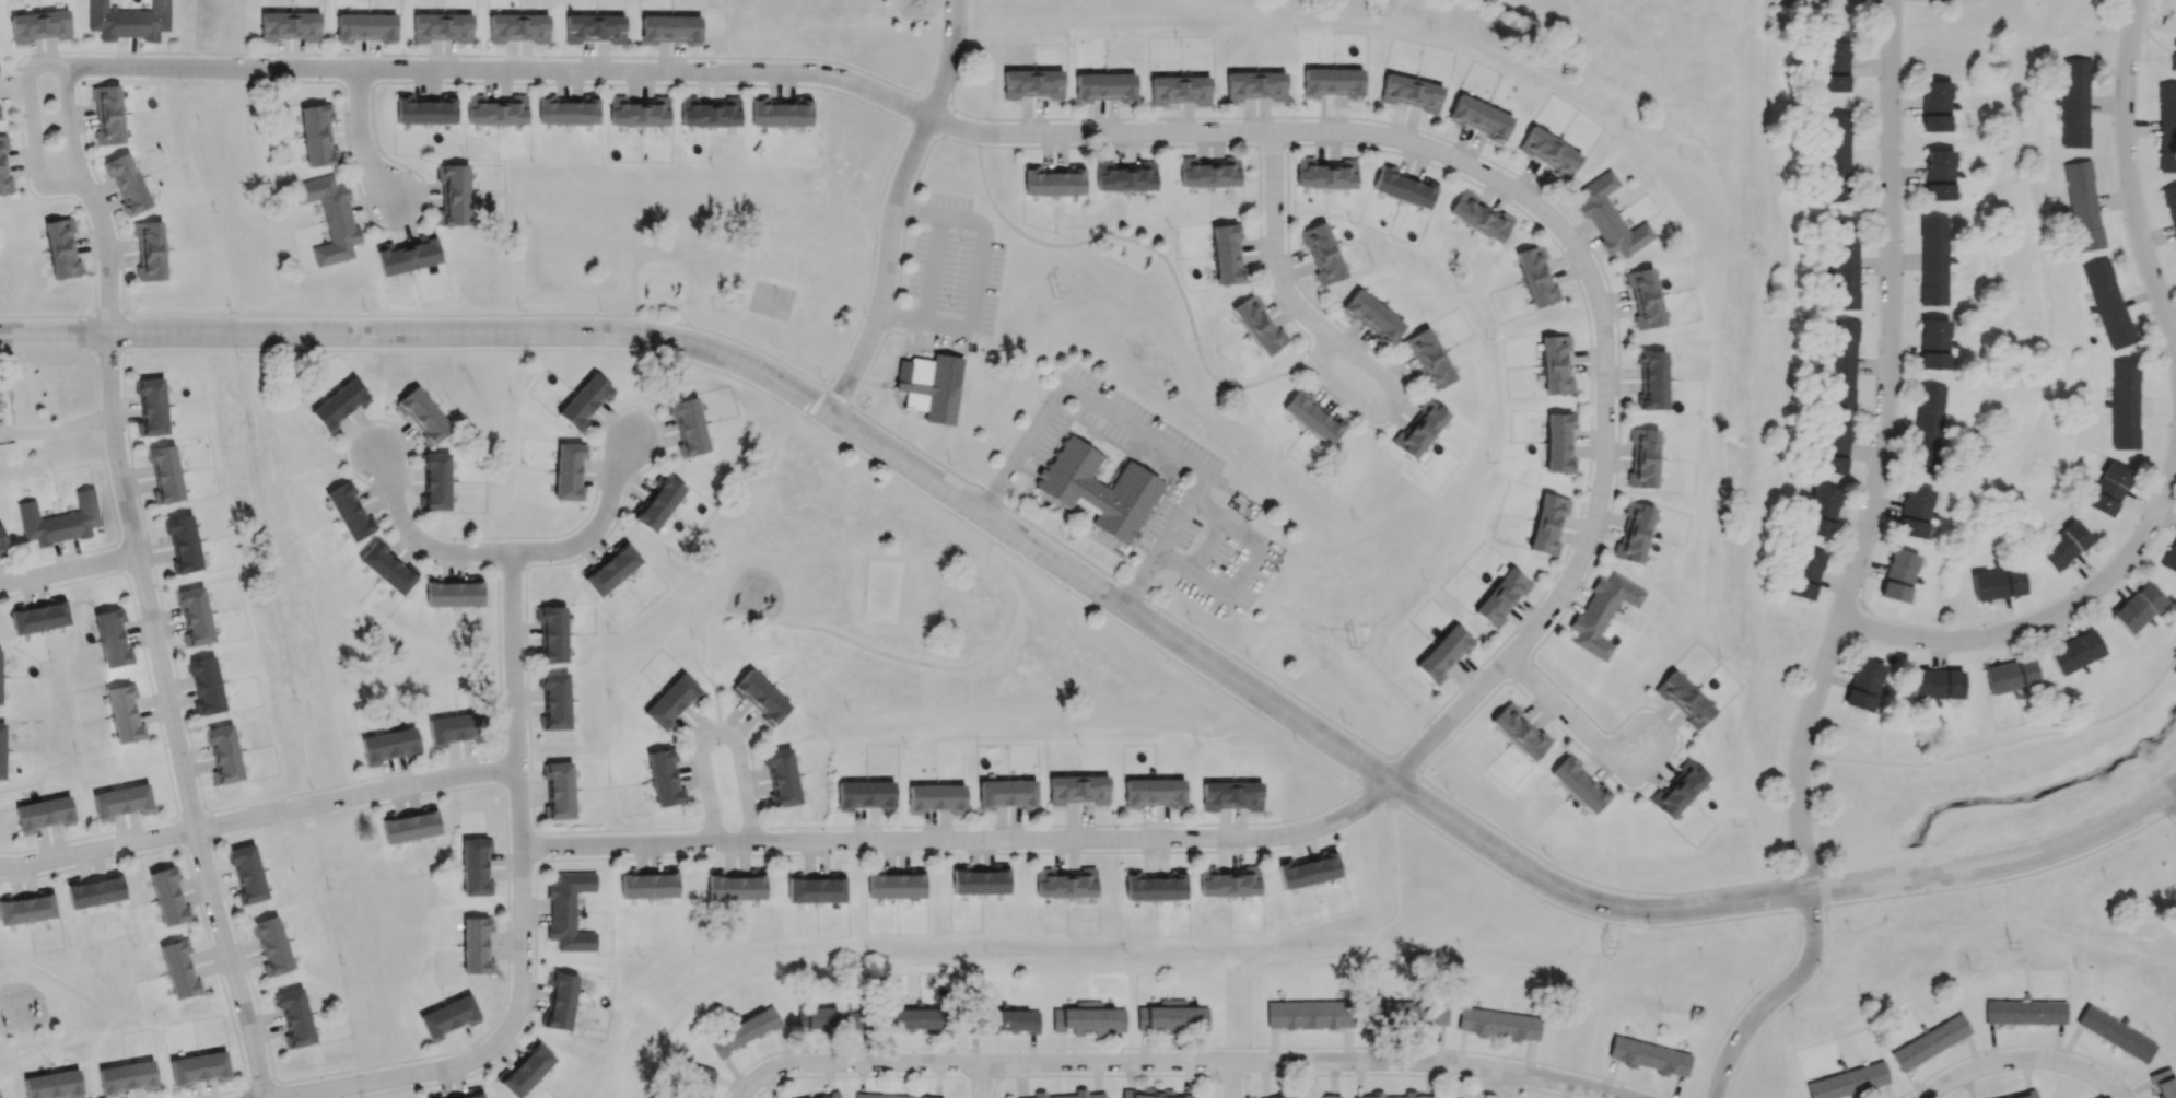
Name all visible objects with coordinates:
road: (941, 0)
road: (1935, 0)
road: (938, 8)
road: (916, 15)
road: (943, 16)
building: (128, 21)
road: (938, 23)
building: (40, 25)
building: (290, 26)
building: (365, 27)
building: (442, 27)
building: (518, 27)
building: (595, 28)
building: (670, 28)
road: (2148, 32)
road: (319, 55)
road: (948, 59)
building: (1834, 66)
road: (935, 67)
road: (498, 70)
building: (1332, 82)
building: (1032, 83)
building: (1255, 85)
building: (1104, 86)
building: (1180, 90)
building: (1411, 93)
building: (2074, 103)
building: (1935, 106)
road: (908, 107)
building: (425, 109)
building: (496, 110)
building: (566, 110)
building: (639, 112)
building: (710, 112)
building: (780, 112)
building: (107, 114)
building: (1479, 117)
building: (0, 118)
road: (945, 121)
building: (2166, 127)
building: (317, 135)
road: (919, 135)
road: (941, 135)
road: (33, 138)
road: (360, 139)
road: (955, 140)
road: (1252, 144)
building: (1549, 152)
building: (1836, 156)
road: (1501, 166)
building: (4, 168)
building: (1208, 172)
building: (1326, 173)
building: (1939, 174)
road: (2129, 174)
building: (1125, 176)
building: (1053, 180)
building: (127, 183)
building: (1403, 186)
building: (454, 195)
road: (92, 201)
building: (2083, 205)
building: (2171, 206)
building: (1481, 217)
building: (1610, 217)
building: (330, 219)
road: (1556, 221)
road: (1275, 246)
building: (61, 248)
road: (1150, 249)
building: (150, 250)
building: (1227, 253)
building: (1322, 253)
building: (407, 256)
road: (873, 256)
building: (1932, 260)
building: (1845, 264)
road: (891, 268)
parking lot: (950, 272)
building: (1536, 276)
park: (772, 299)
building: (1645, 299)
power tower: (1048, 303)
building: (2108, 303)
road: (658, 306)
road: (108, 312)
road: (372, 314)
road: (47, 316)
building: (1372, 316)
road: (655, 318)
building: (1259, 325)
road: (79, 335)
road: (759, 349)
road: (475, 350)
road: (46, 352)
road: (109, 354)
building: (1429, 359)
building: (1841, 363)
building: (1555, 364)
road: (753, 370)
building: (1652, 379)
building: (928, 384)
road: (1321, 389)
road: (839, 394)
building: (584, 401)
road: (816, 401)
road: (1399, 401)
building: (339, 404)
building: (2125, 404)
building: (152, 407)
building: (422, 414)
building: (1312, 417)
building: (689, 427)
road: (1136, 427)
building: (1926, 428)
building: (1419, 429)
building: (1558, 443)
building: (1834, 447)
road: (1884, 453)
building: (1642, 458)
building: (569, 470)
building: (165, 474)
road: (900, 479)
building: (436, 480)
building: (2108, 489)
building: (1099, 490)
parking lot: (1189, 490)
building: (657, 502)
building: (349, 511)
building: (1822, 511)
building: (1914, 511)
building: (59, 519)
building: (1547, 524)
building: (1634, 532)
building: (2, 540)
building: (183, 542)
building: (2063, 545)
road: (67, 554)
road: (505, 554)
building: (2171, 558)
building: (387, 566)
building: (610, 570)
building: (1805, 573)
road: (70, 575)
building: (1898, 575)
road: (1121, 580)
building: (1998, 583)
building: (453, 592)
park: (881, 592)
building: (1501, 597)
building: (2138, 607)
building: (1602, 612)
building: (195, 616)
building: (40, 617)
road: (2038, 622)
building: (553, 633)
building: (115, 640)
road: (853, 641)
power tower: (1359, 641)
building: (2074, 652)
building: (1443, 653)
road: (513, 662)
road: (1177, 662)
road: (1520, 670)
building: (2010, 676)
building: (0, 681)
building: (1863, 684)
building: (1937, 684)
building: (210, 686)
building: (760, 697)
building: (1684, 699)
building: (671, 701)
building: (555, 702)
building: (127, 715)
road: (175, 720)
road: (1464, 722)
road: (1791, 724)
building: (454, 727)
building: (1519, 732)
road: (723, 736)
road: (2005, 741)
building: (388, 745)
road: (1811, 745)
building: (2, 749)
building: (223, 752)
road: (1403, 763)
road: (1616, 764)
road: (1418, 774)
building: (664, 776)
building: (782, 778)
building: (1579, 784)
building: (1078, 789)
building: (1678, 789)
road: (1405, 790)
building: (559, 791)
building: (1153, 792)
building: (1008, 793)
road: (1377, 793)
building: (865, 794)
building: (1231, 795)
road: (356, 797)
building: (936, 797)
road: (2172, 797)
building: (121, 802)
road: (518, 808)
road: (2168, 809)
building: (44, 814)
road: (2168, 822)
building: (410, 825)
road: (1080, 841)
road: (636, 846)
road: (97, 850)
road: (96, 864)
building: (476, 866)
building: (1308, 869)
road: (48, 874)
building: (247, 874)
road: (1804, 874)
road: (28, 878)
building: (1229, 881)
road: (1999, 881)
building: (1065, 883)
road: (1589, 883)
building: (647, 884)
building: (894, 884)
building: (736, 885)
building: (1155, 886)
building: (815, 889)
road: (1822, 889)
building: (95, 891)
road: (1789, 893)
road: (1775, 897)
building: (171, 898)
building: (26, 908)
road: (1809, 909)
building: (569, 911)
road: (1578, 915)
building: (272, 945)
building: (476, 946)
power tower: (2005, 946)
power tower: (1602, 949)
road: (1347, 954)
building: (182, 969)
road: (1774, 997)
building: (560, 1001)
road: (1748, 1001)
road: (1783, 1004)
road: (518, 1005)
building: (2025, 1012)
building: (1404, 1013)
building: (1308, 1014)
building: (449, 1016)
building: (1173, 1016)
building: (295, 1018)
building: (829, 1018)
building: (919, 1018)
building: (1088, 1018)
building: (1006, 1020)
building: (1498, 1024)
road: (24, 1027)
building: (744, 1030)
building: (2116, 1033)
building: (1930, 1041)
road: (1349, 1047)
road: (978, 1048)
building: (1649, 1055)
road: (2024, 1060)
road: (1212, 1061)
road: (1179, 1062)
road: (1449, 1062)
building: (199, 1067)
building: (526, 1070)
road: (1572, 1070)
road: (1097, 1075)
building: (127, 1077)
road: (1462, 1077)
road: (1231, 1079)
road: (981, 1081)
building: (1848, 1081)
building: (698, 1082)
building: (2164, 1083)
building: (54, 1085)
road: (993, 1085)
road: (1217, 1085)
road: (332, 1087)
road: (1448, 1087)
road: (1525, 1087)
road: (1473, 1088)
road: (339, 1093)
building: (1409, 1093)
road: (219, 1094)
road: (242, 1094)
building: (468, 1094)
building: (1151, 1094)
building: (2026, 1094)
building: (831, 1095)
building: (1068, 1095)
building: (891, 1096)
building: (1301, 1096)
road: (1696, 1097)

